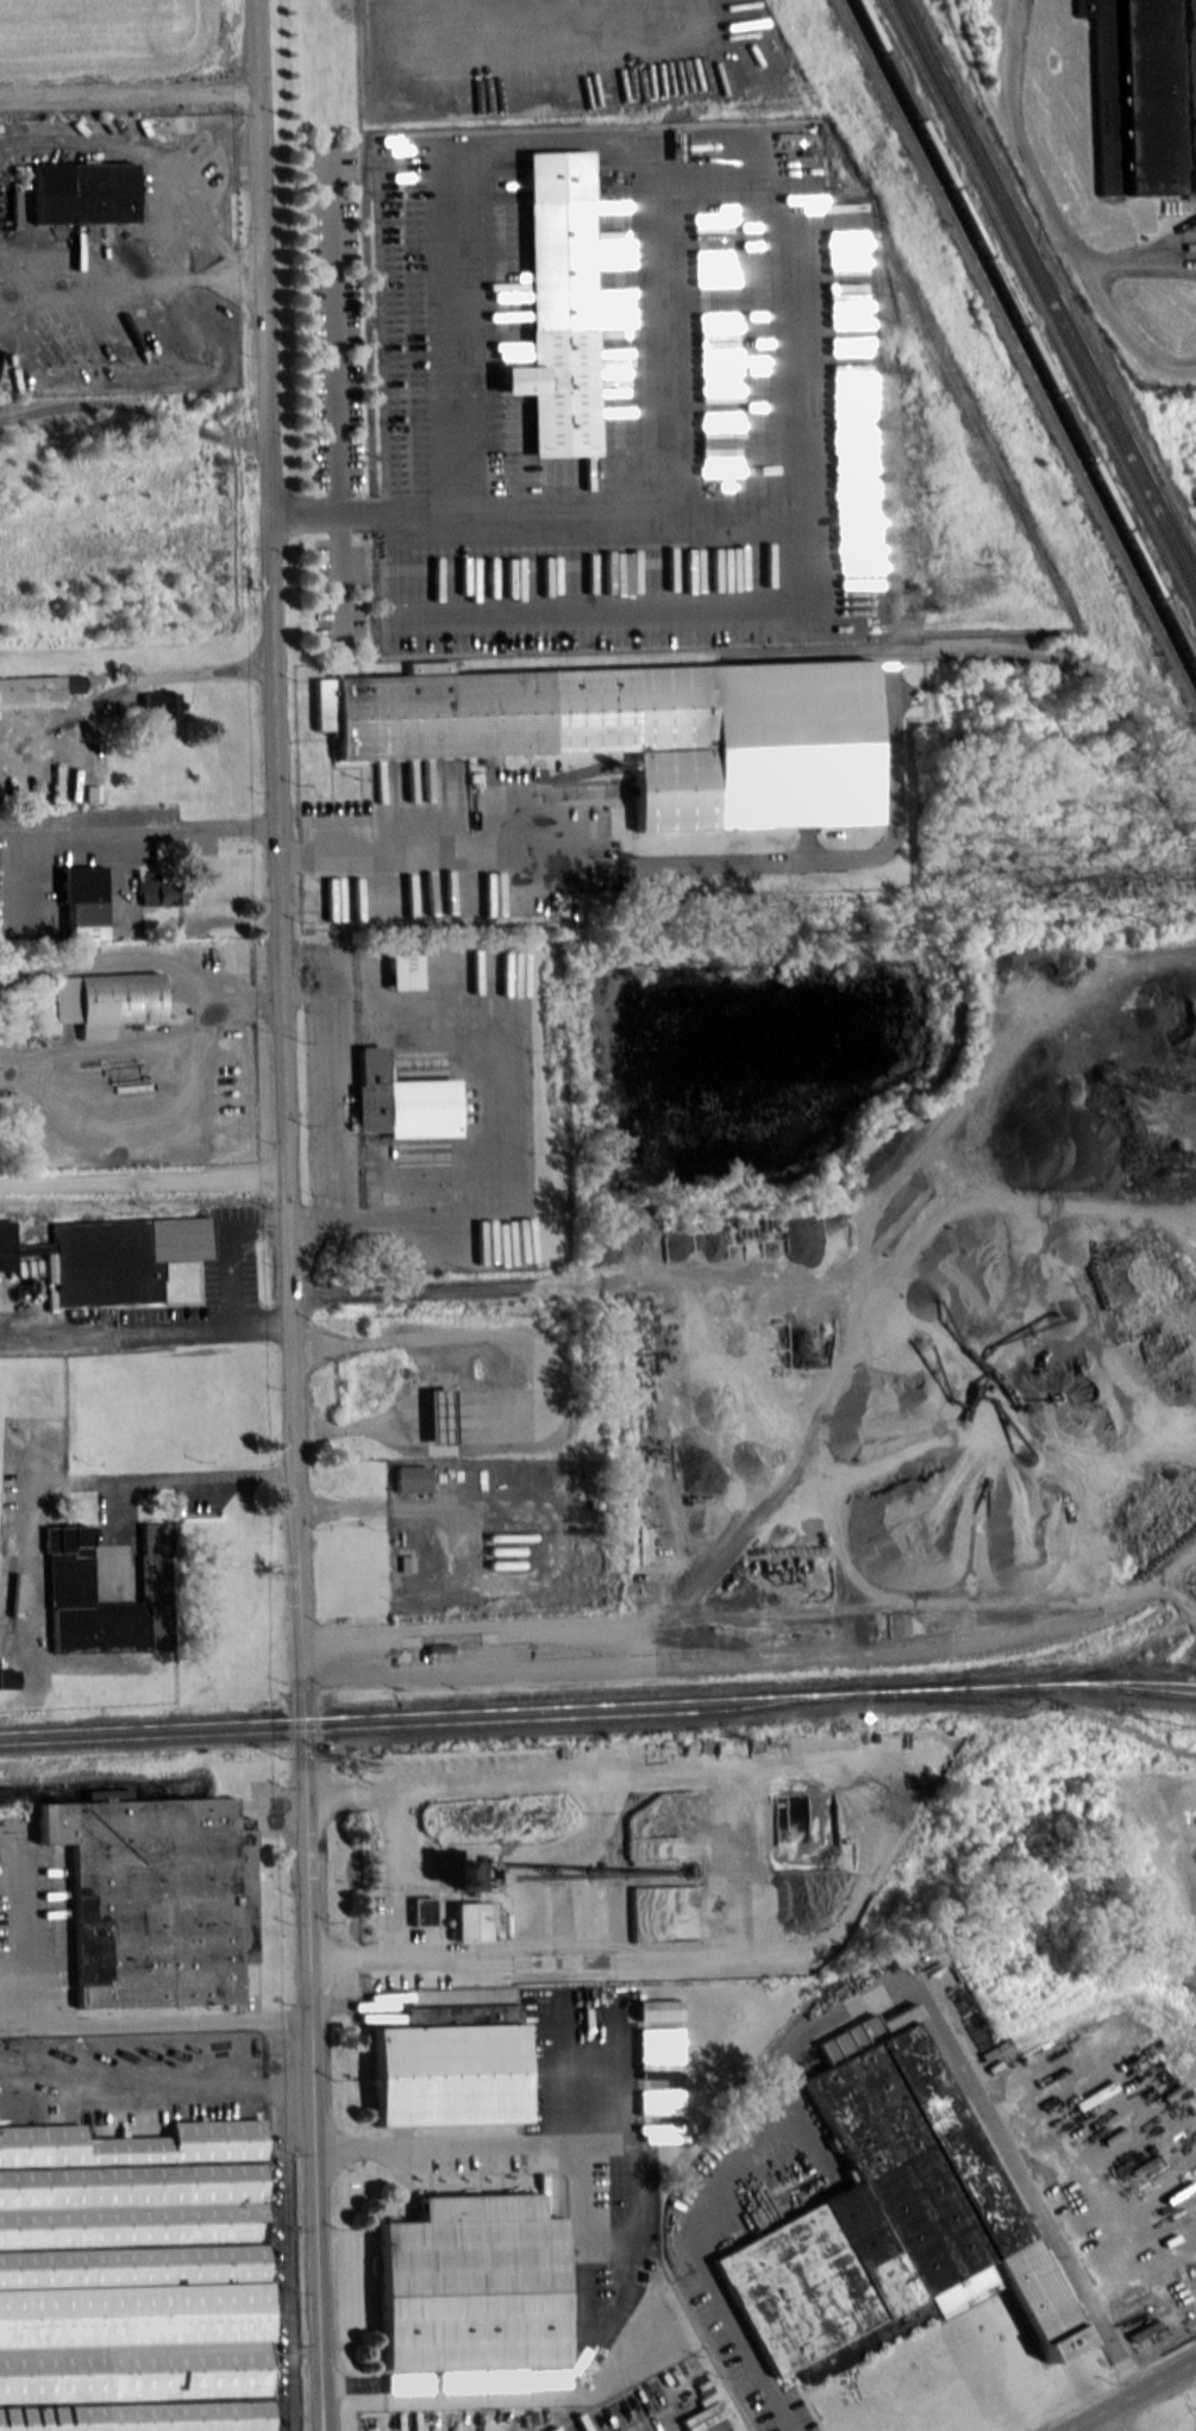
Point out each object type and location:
crop: (98, 36)
road: (126, 92)
building: (1144, 95)
road: (1013, 132)
building: (80, 192)
road: (777, 223)
road: (1133, 262)
road: (130, 285)
railway: (1045, 296)
building: (553, 304)
railway: (1039, 308)
road: (1119, 331)
road: (333, 333)
railway: (1023, 339)
railway: (1019, 350)
road: (301, 515)
road: (339, 580)
railway: (760, 654)
building: (37, 689)
building: (161, 705)
building: (640, 731)
road: (119, 840)
road: (669, 861)
building: (156, 888)
building: (80, 900)
road: (333, 900)
building: (399, 970)
road: (278, 979)
building: (104, 1001)
building: (399, 1100)
road: (328, 1107)
building: (23, 1133)
road: (142, 1181)
road: (224, 1250)
building: (109, 1257)
road: (144, 1333)
road: (539, 1383)
building: (436, 1414)
road: (180, 1476)
building: (408, 1479)
building: (68, 1579)
building: (439, 1646)
road: (337, 1656)
railway: (1085, 1663)
building: (7, 1677)
railway: (1186, 1682)
railway: (1138, 1687)
railway: (725, 1698)
railway: (1042, 1704)
railway: (406, 1724)
railway: (137, 1725)
power tower: (1157, 1726)
power tower: (752, 1745)
power tower: (345, 1764)
railway: (95, 1795)
road: (393, 1874)
building: (155, 1898)
road: (308, 1985)
road: (863, 1995)
road: (81, 2019)
building: (445, 2073)
road: (169, 2079)
road: (459, 2148)
road: (314, 2221)
building: (132, 2279)
building: (469, 2283)
road: (1129, 2394)
road: (1106, 2421)

